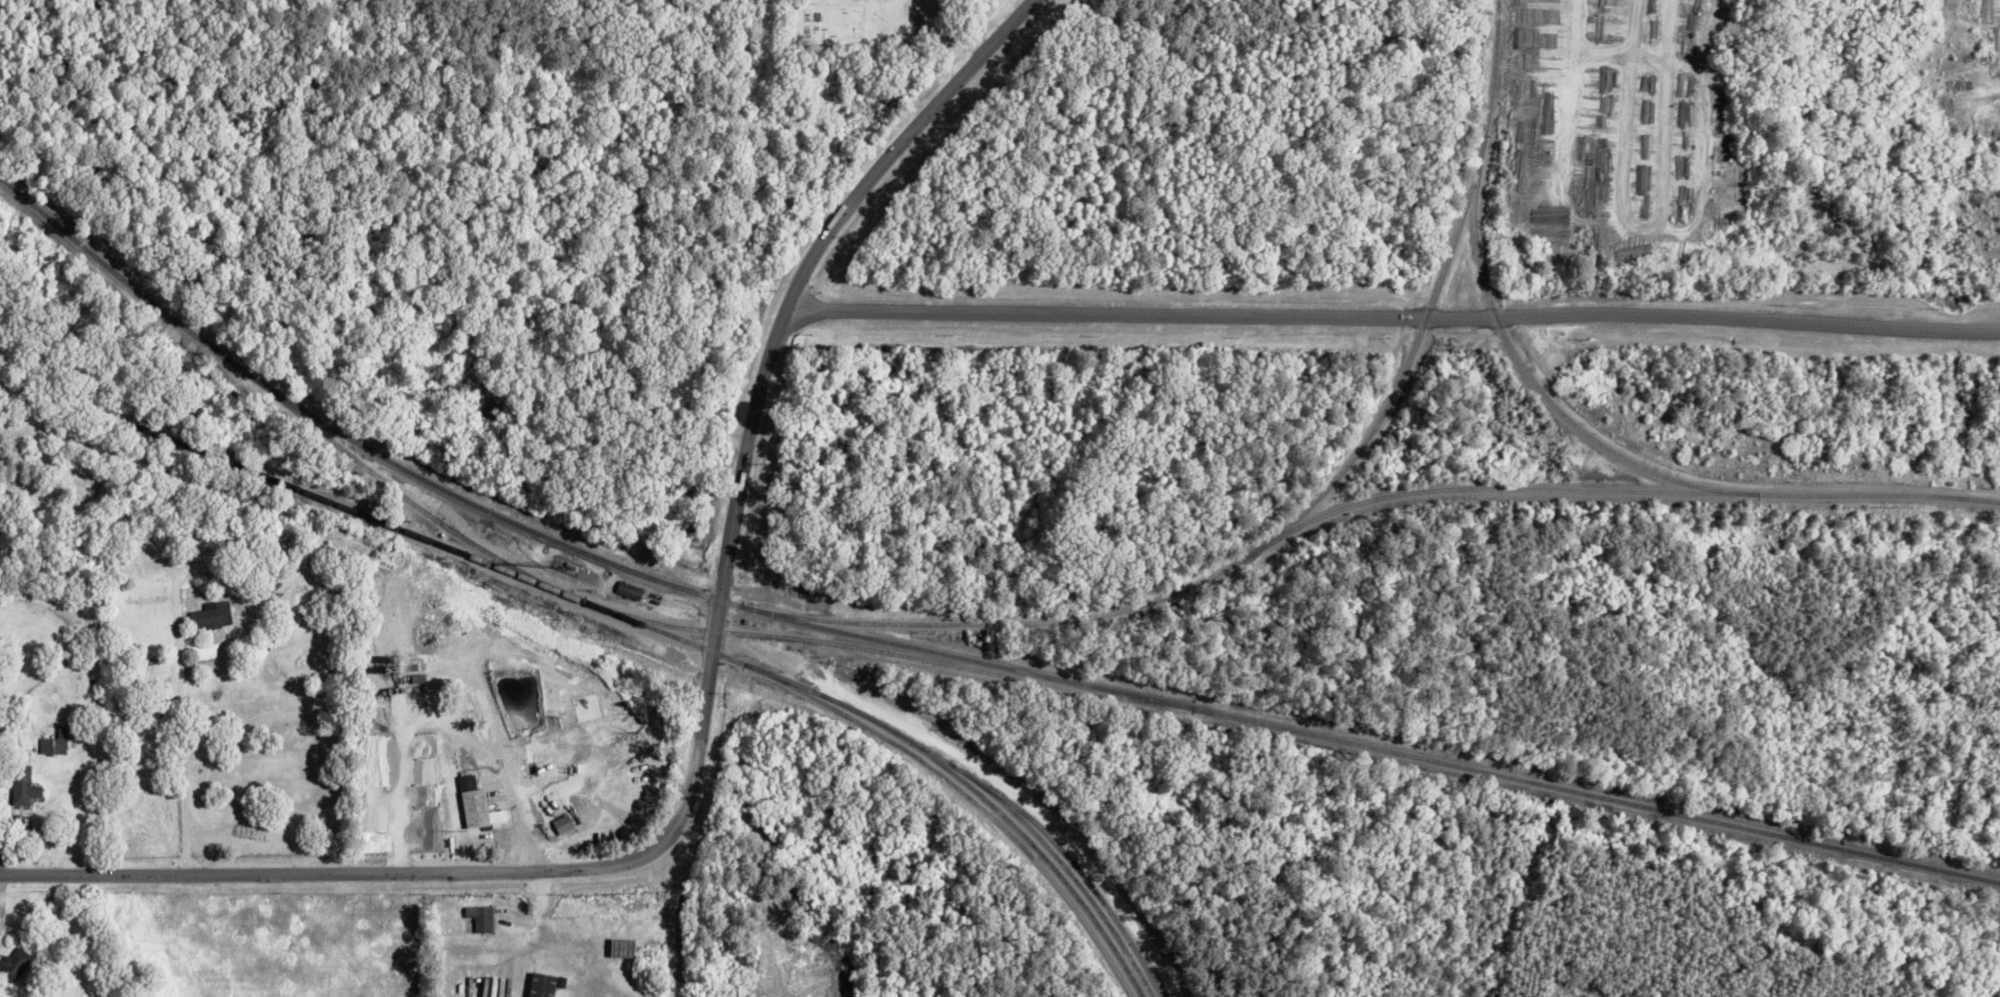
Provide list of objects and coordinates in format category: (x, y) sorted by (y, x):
road: (1396, 317)
railway: (1537, 384)
railway: (1618, 490)
railway: (328, 504)
railway: (1293, 519)
railway: (479, 546)
building: (212, 615)
railway: (891, 653)
railway: (947, 656)
railway: (782, 676)
road: (705, 710)
road: (180, 713)
building: (55, 743)
building: (428, 759)
building: (23, 788)
railway: (970, 795)
building: (478, 806)
railway: (1014, 811)
railway: (1006, 816)
building: (564, 825)
railway: (1076, 862)
building: (481, 918)
building: (15, 964)

